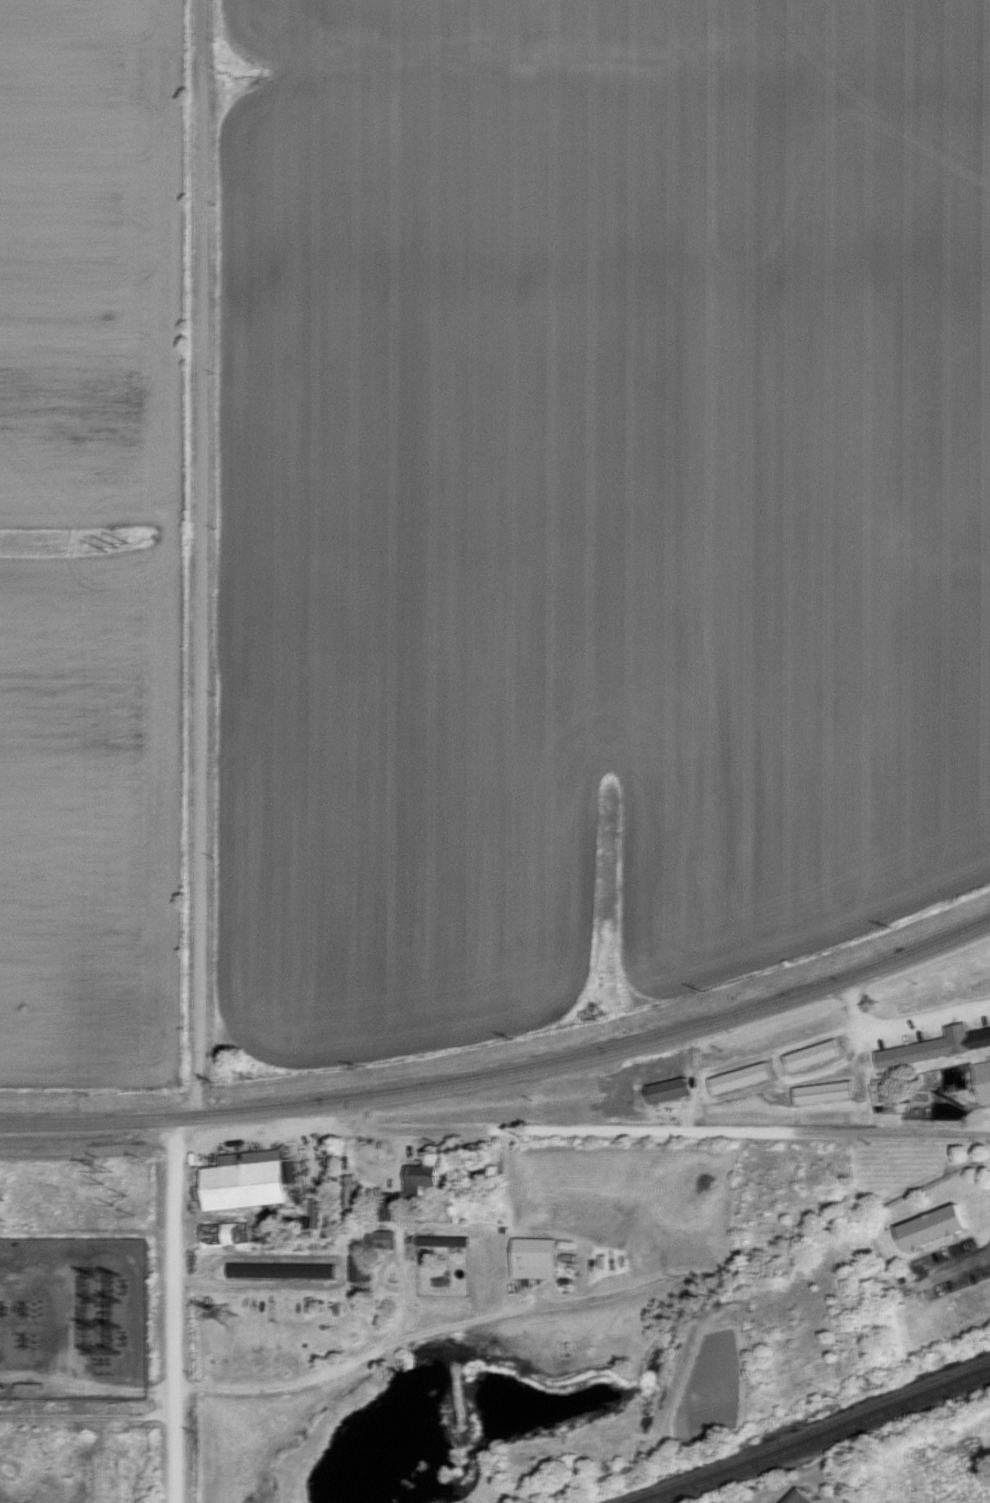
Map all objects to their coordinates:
power tower: (112, 545)
road: (201, 752)
road: (853, 1003)
road: (815, 1039)
building: (938, 1046)
building: (816, 1054)
road: (504, 1073)
building: (744, 1077)
building: (984, 1079)
building: (671, 1090)
building: (828, 1092)
road: (657, 1134)
building: (478, 1174)
building: (423, 1177)
building: (252, 1179)
power tower: (117, 1189)
building: (350, 1197)
building: (386, 1205)
building: (940, 1226)
building: (384, 1239)
building: (447, 1241)
building: (539, 1258)
road: (970, 1263)
building: (364, 1269)
building: (285, 1271)
power tower: (235, 1312)
power substation: (72, 1318)
railway: (803, 1433)
railway: (823, 1438)
building: (803, 1497)

